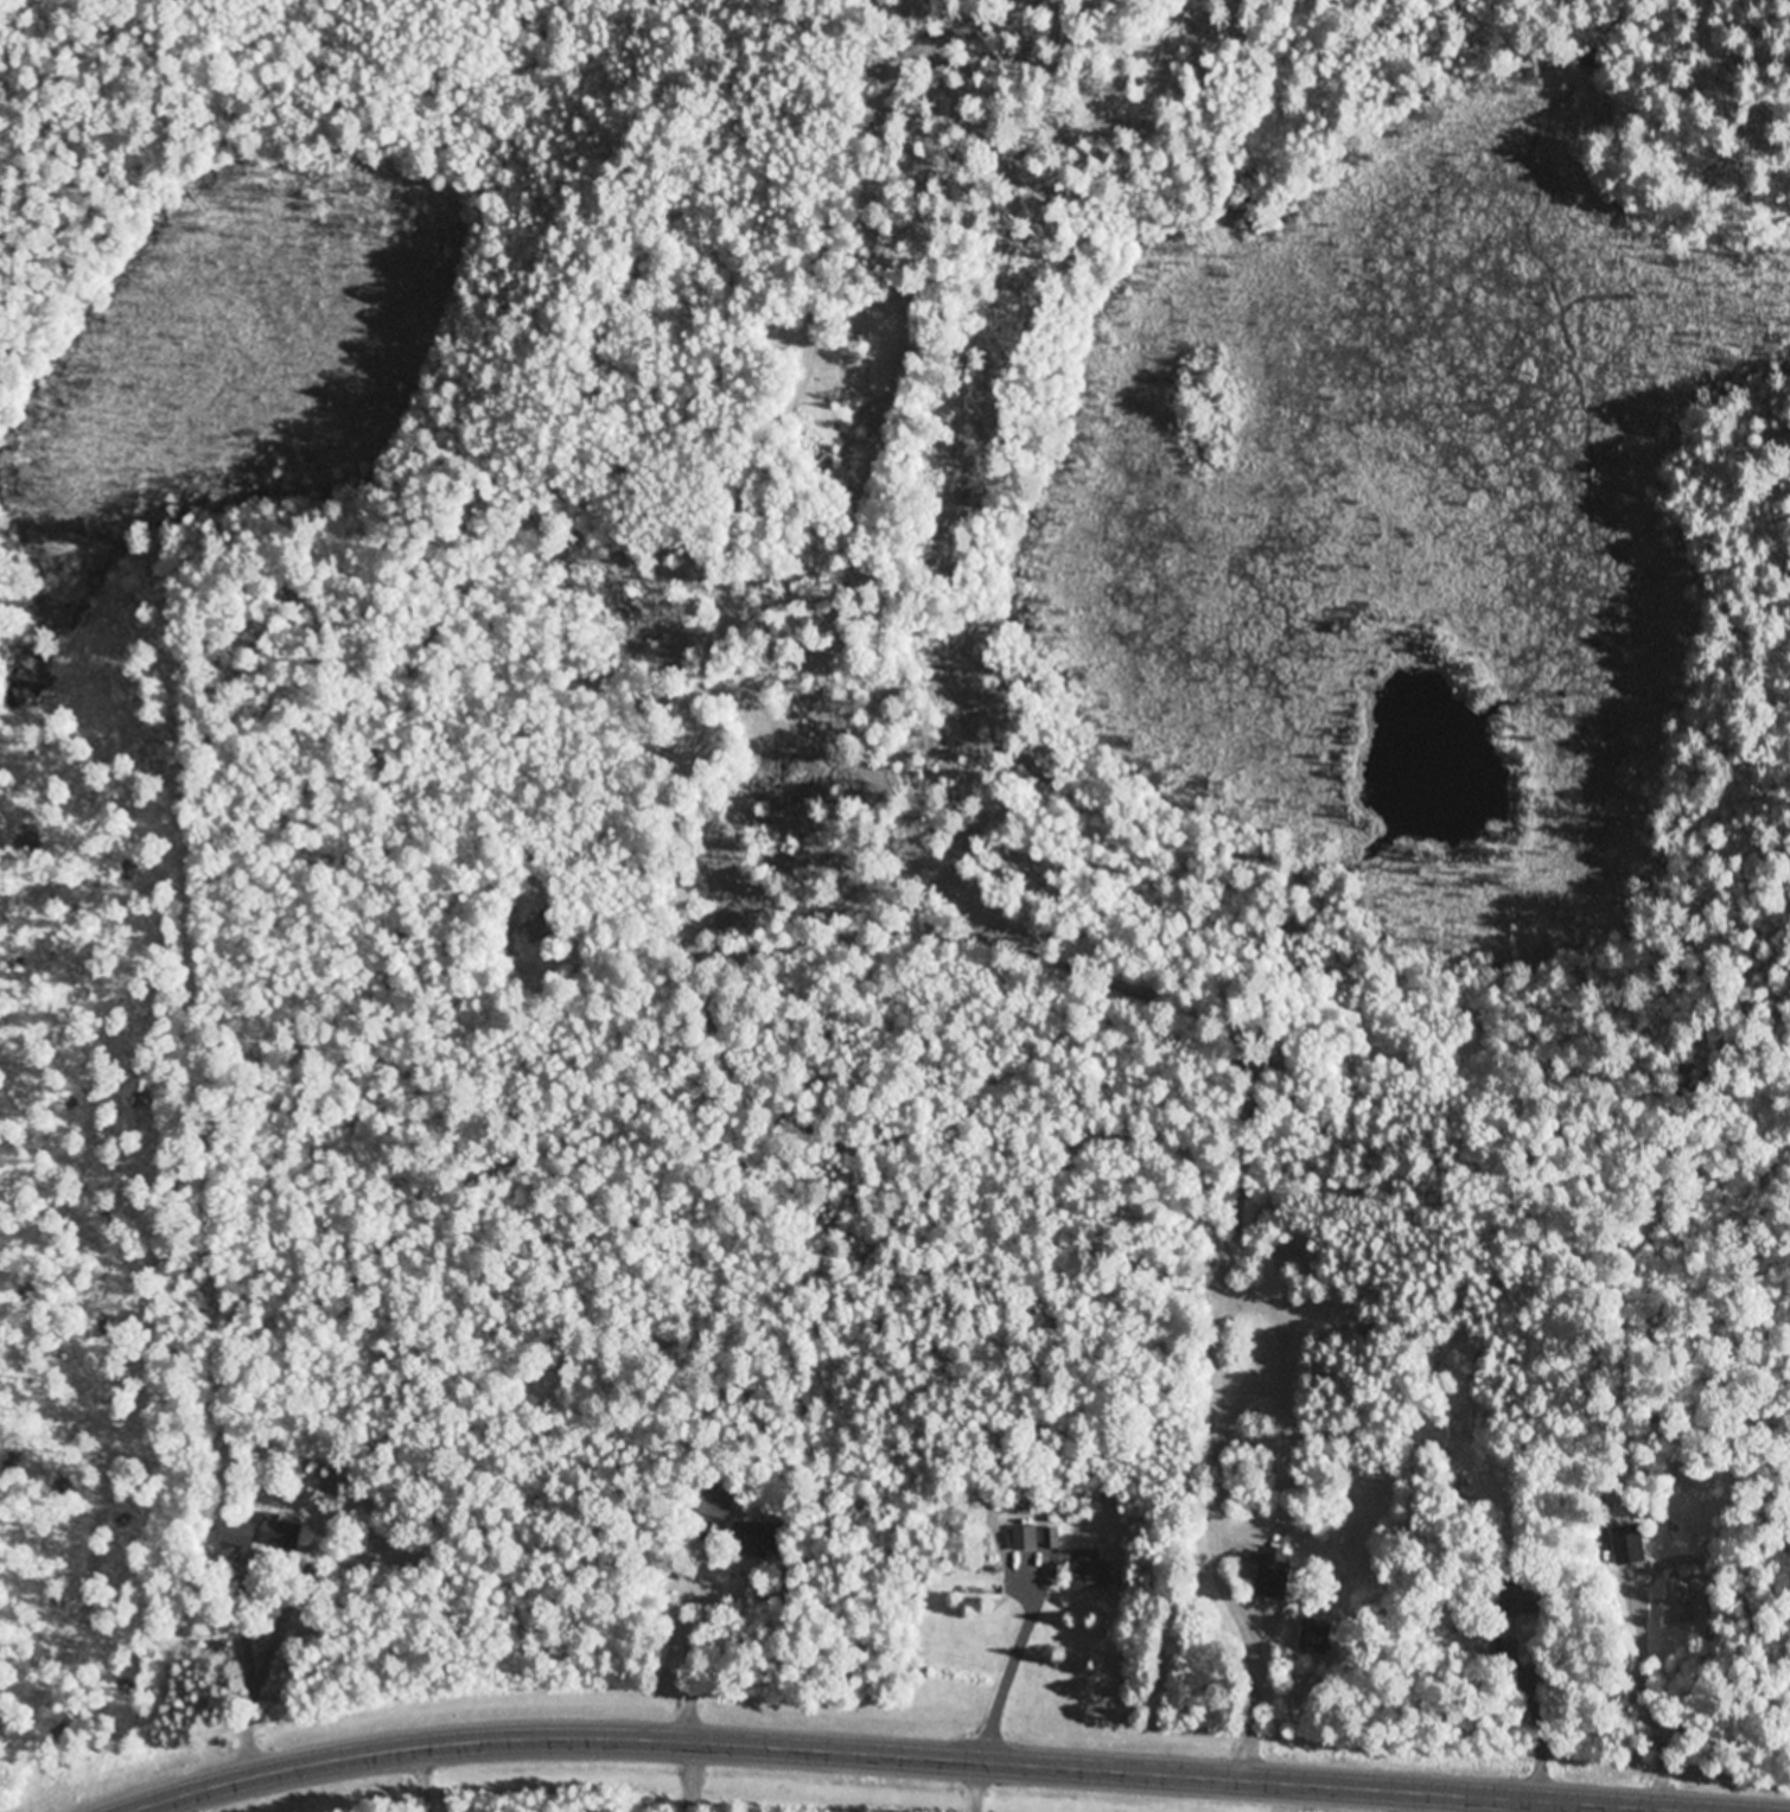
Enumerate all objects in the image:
building: (714, 1505)
building: (262, 1532)
building: (1031, 1539)
building: (1095, 1574)
building: (1274, 1578)
road: (275, 1581)
road: (688, 1635)
road: (1009, 1663)
road: (1651, 1691)
road: (1249, 1692)
road: (816, 1695)
road: (1535, 1712)
road: (902, 1757)
road: (688, 1776)
road: (416, 1780)
road: (735, 1782)
road: (975, 1787)
road: (1401, 1803)
road: (173, 1805)
road: (1569, 1808)

